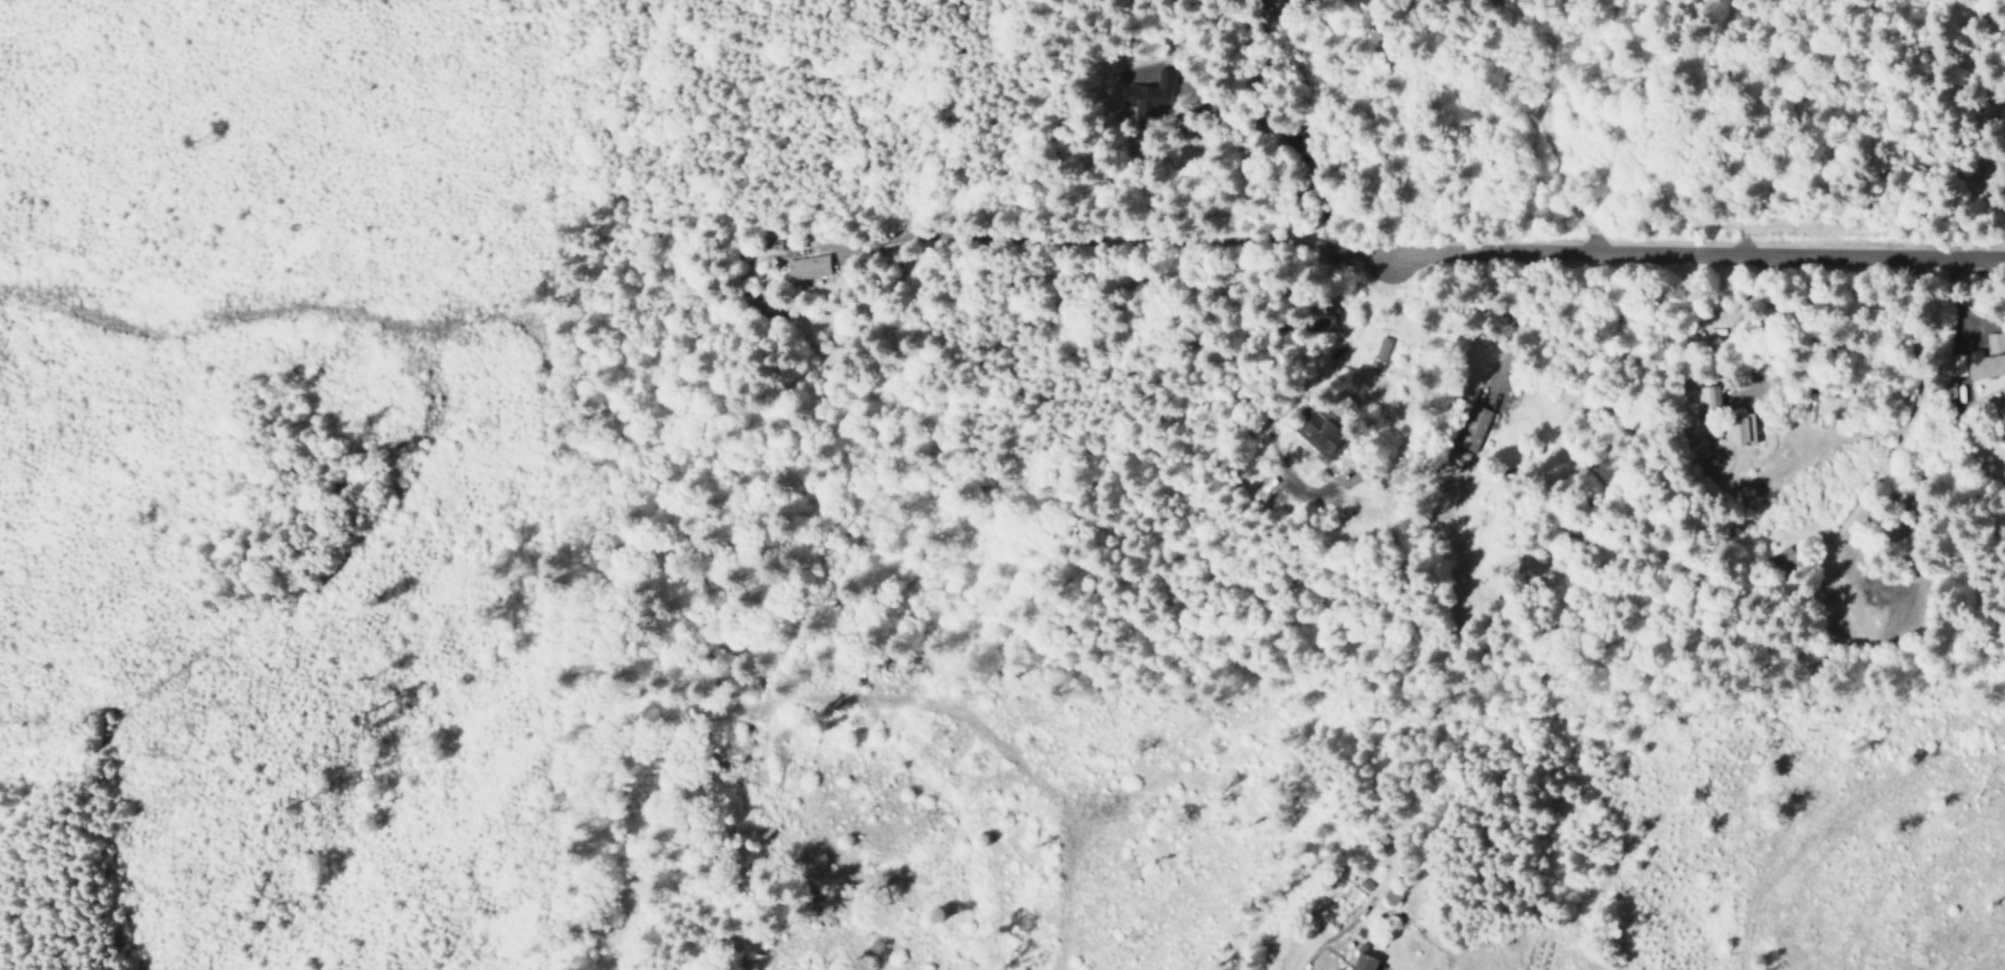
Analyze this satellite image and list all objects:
building: (1288, 0)
building: (1144, 94)
road: (1702, 253)
building: (1323, 318)
building: (1382, 347)
building: (1980, 359)
building: (1709, 396)
building: (1474, 427)
building: (1740, 429)
building: (1321, 434)
building: (1783, 560)
building: (1391, 895)
building: (1362, 959)

